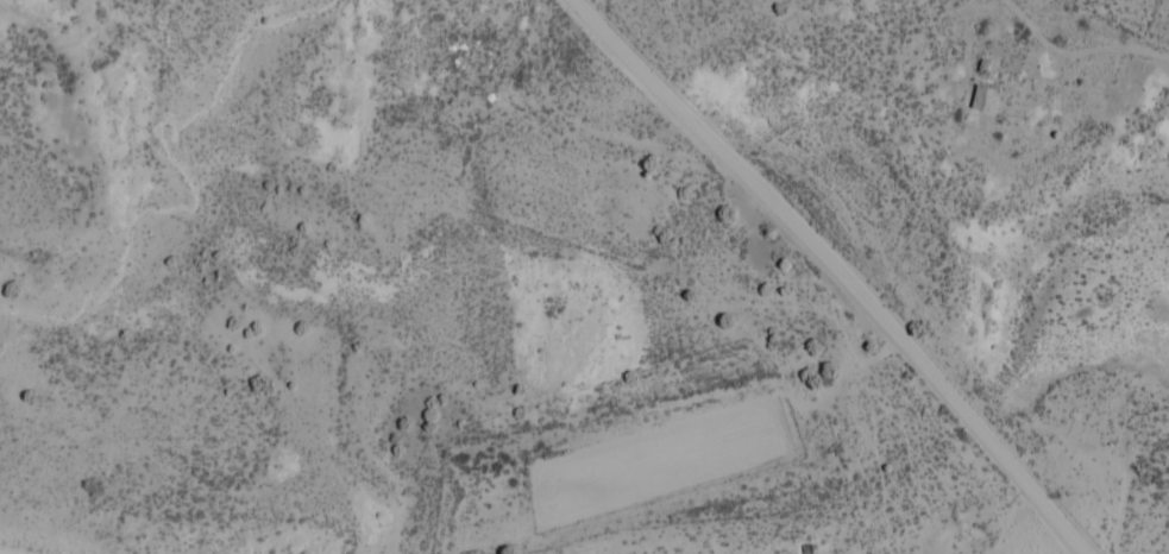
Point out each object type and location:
building: (985, 100)
road: (836, 270)

